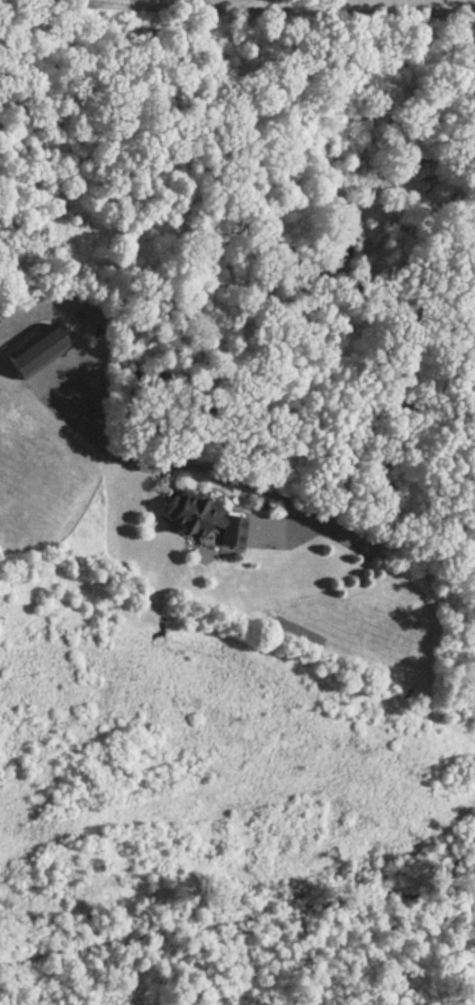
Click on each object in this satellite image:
building: (44, 348)
road: (278, 500)
building: (207, 519)

